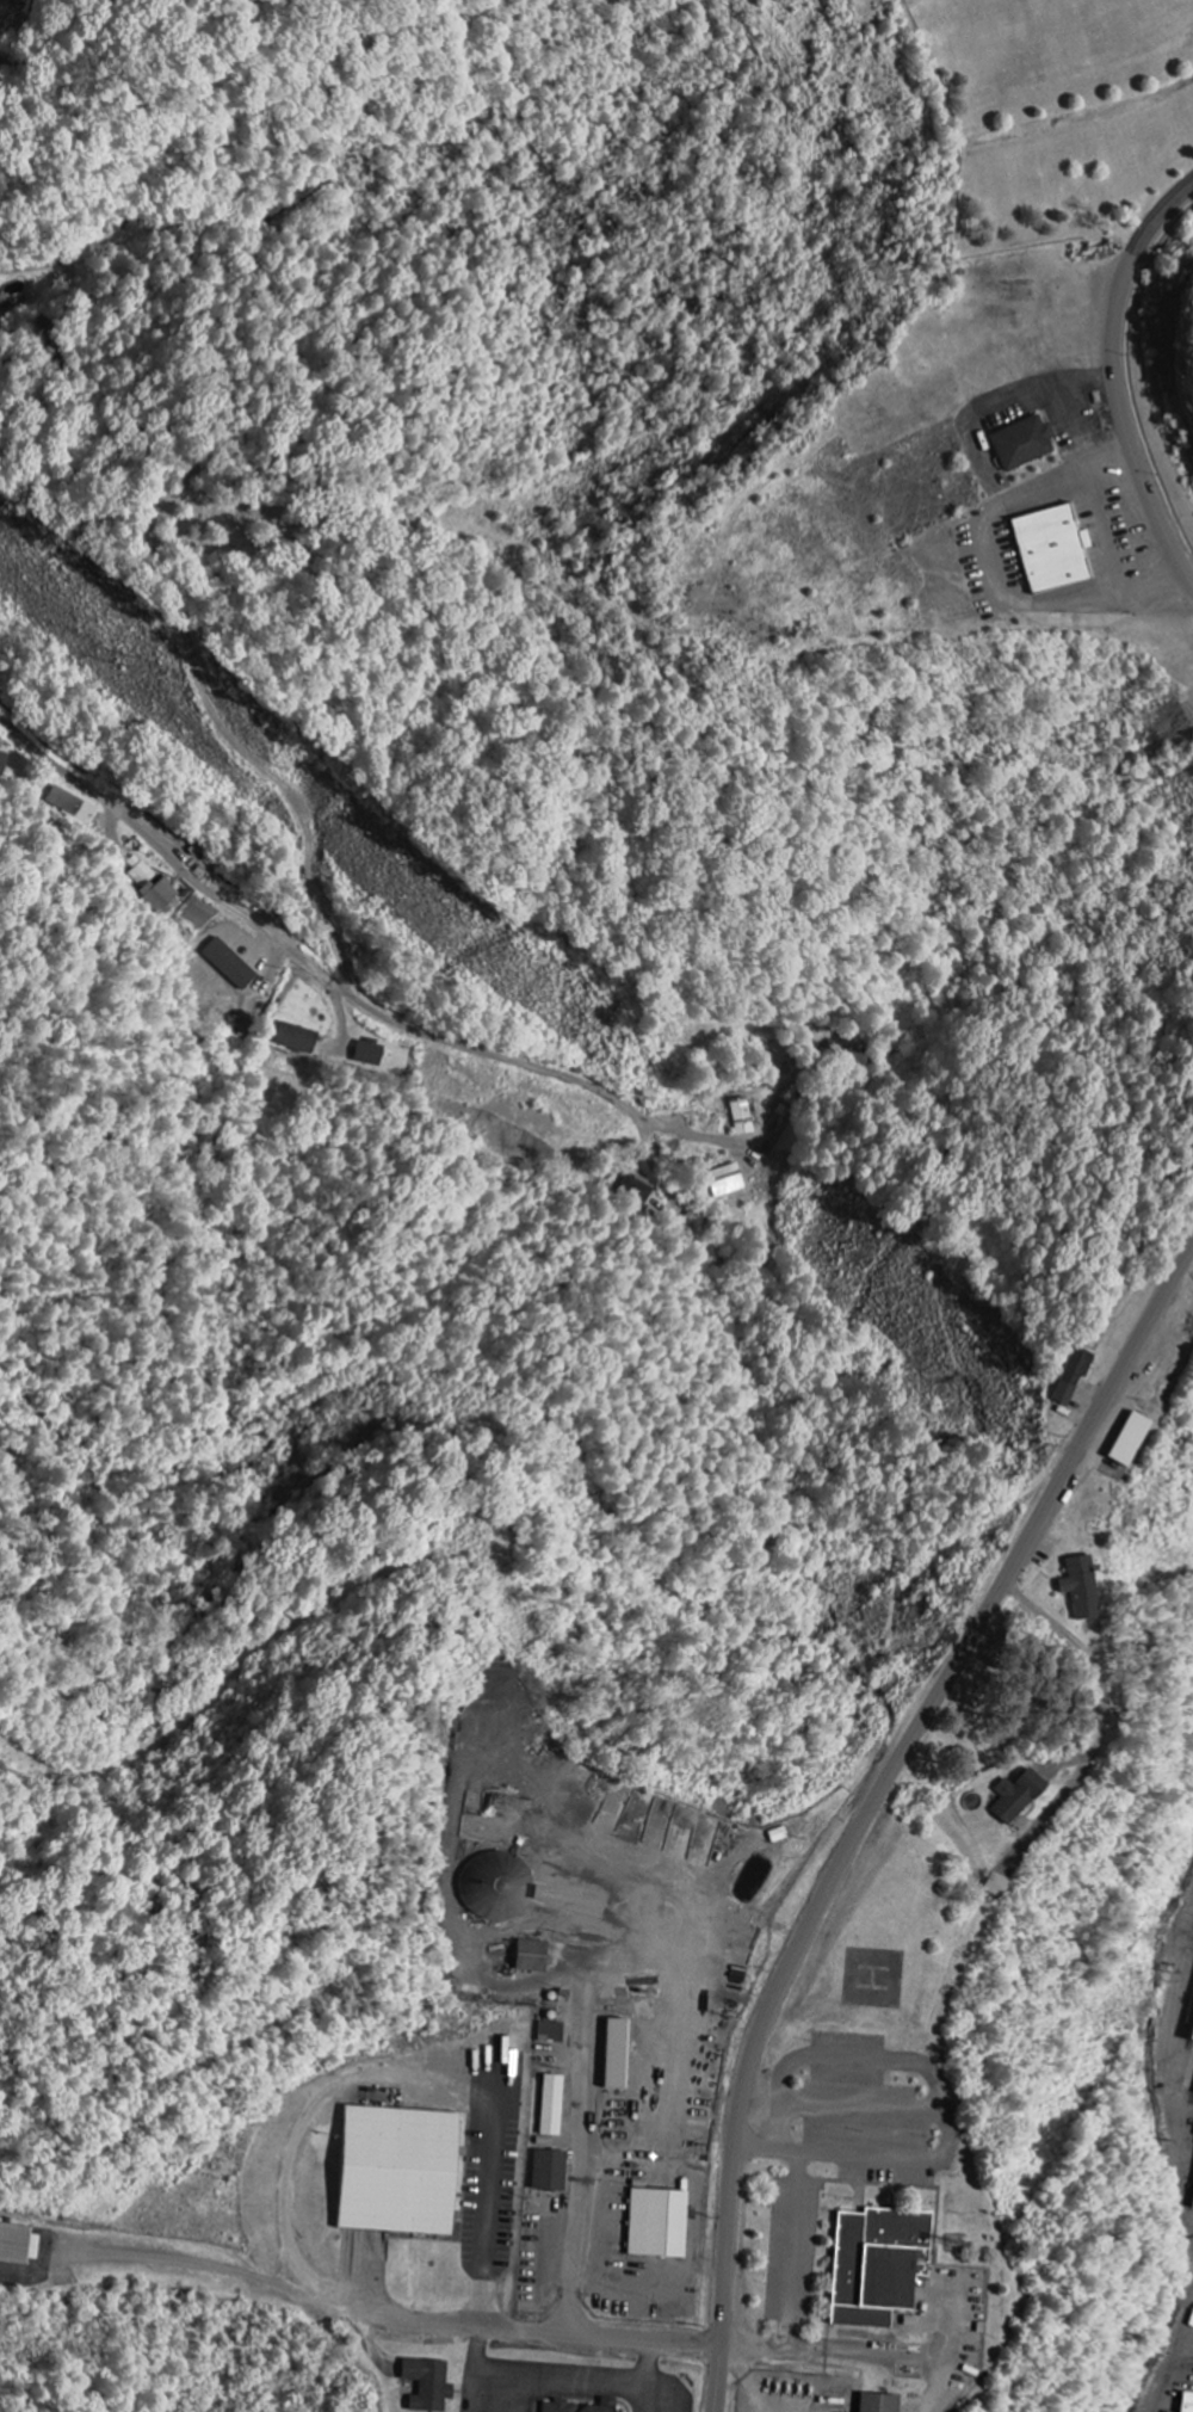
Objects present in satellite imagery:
building: (0, 301)
road: (1112, 378)
building: (1022, 443)
building: (1051, 549)
power tower: (126, 660)
building: (0, 741)
building: (2, 764)
building: (72, 807)
building: (155, 890)
road: (295, 949)
building: (229, 964)
building: (296, 1040)
building: (369, 1054)
building: (742, 1117)
building: (727, 1182)
building: (638, 1186)
building: (1071, 1377)
power tower: (1052, 1439)
building: (1130, 1441)
building: (1081, 1589)
road: (885, 1794)
building: (1016, 1797)
building: (501, 1889)
building: (530, 1956)
building: (550, 2032)
building: (1192, 2041)
building: (616, 2054)
building: (551, 2105)
building: (397, 2171)
building: (549, 2171)
building: (1191, 2198)
building: (656, 2223)
building: (18, 2245)
building: (877, 2265)
road: (523, 2332)
building: (427, 2385)
building: (877, 2404)
building: (580, 2406)
building: (1192, 2410)

